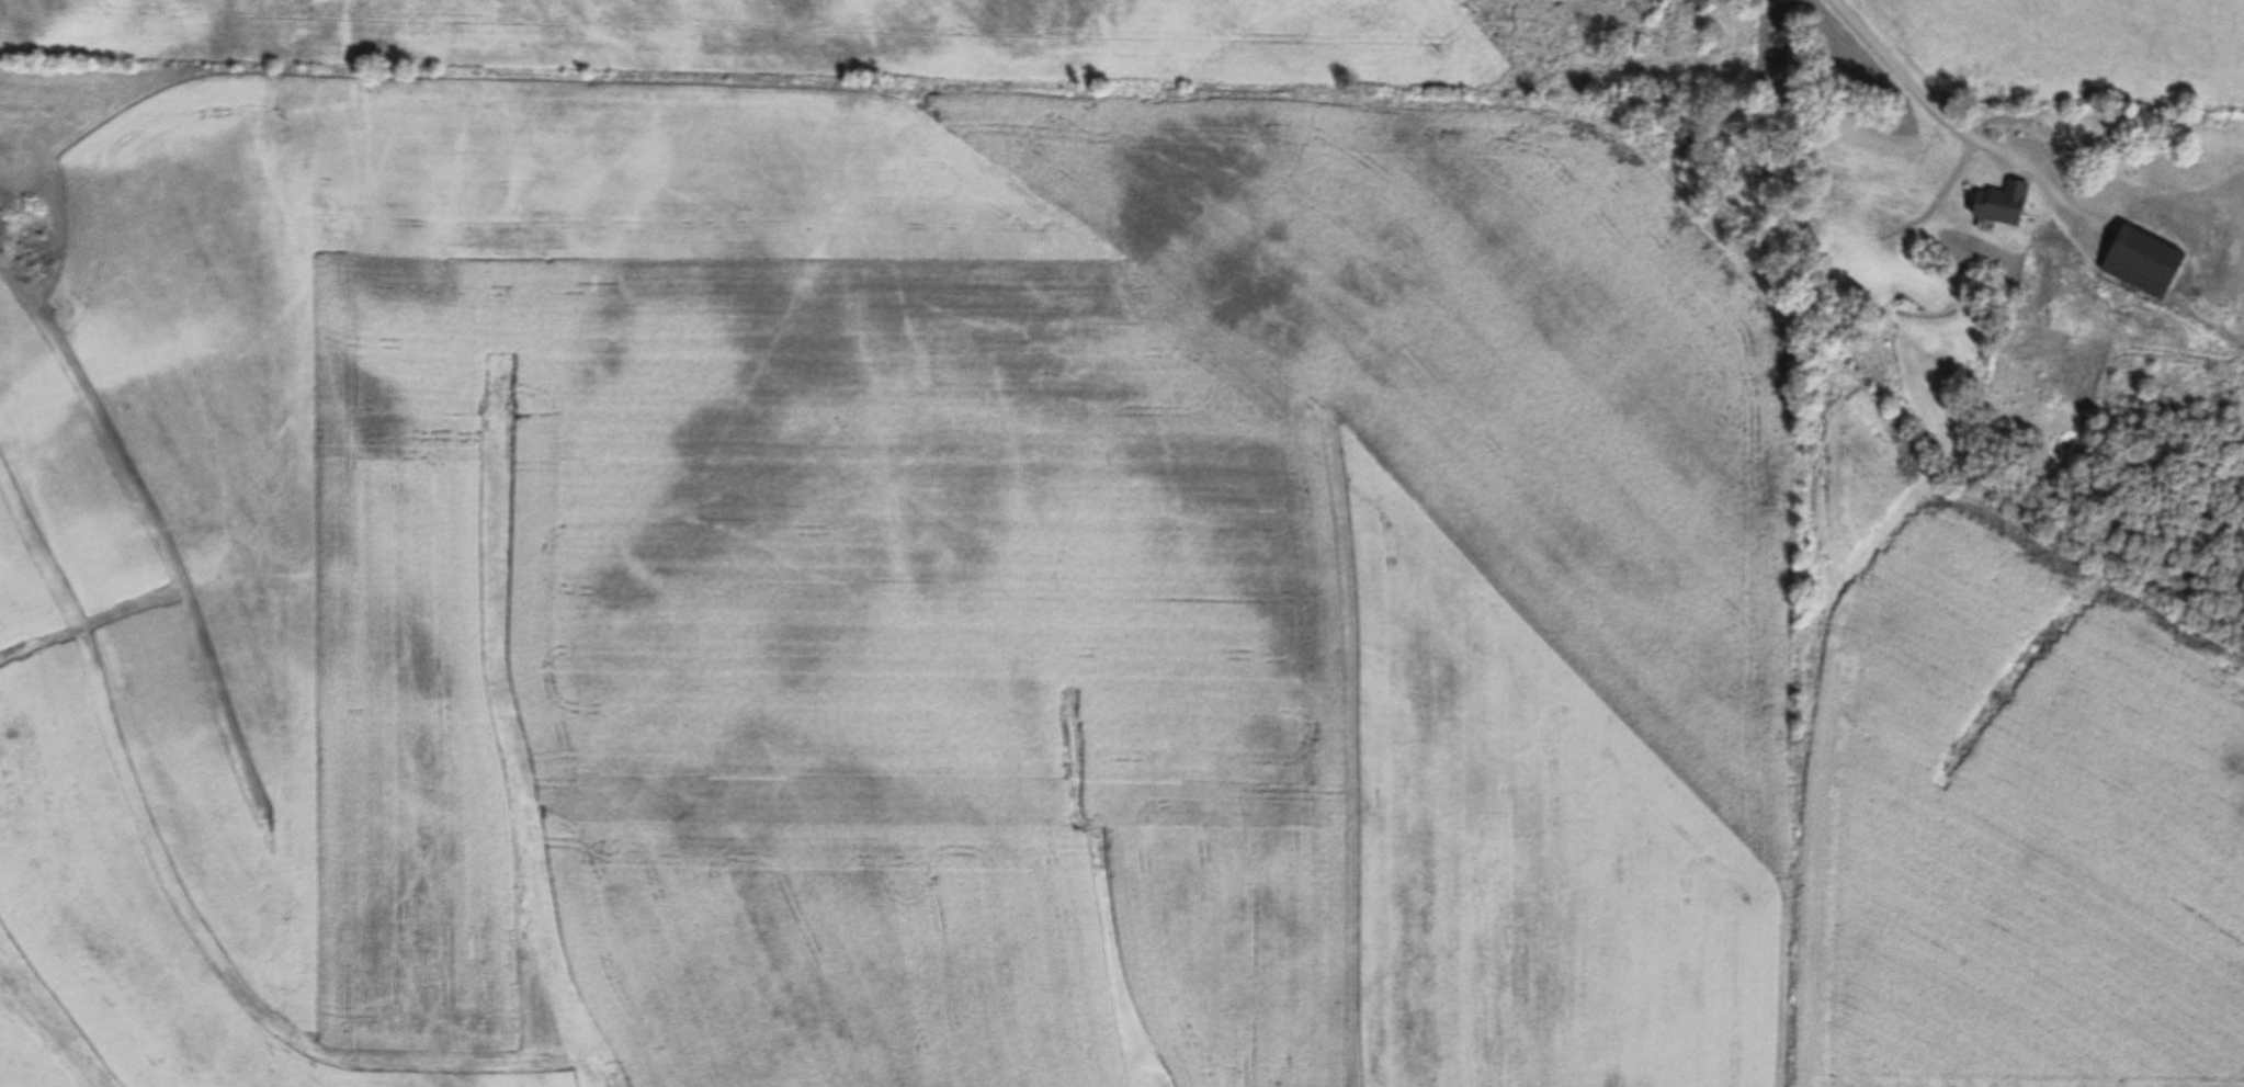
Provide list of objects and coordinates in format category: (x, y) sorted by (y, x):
road: (1961, 132)
building: (1999, 202)
building: (2140, 261)
road: (1352, 1078)

